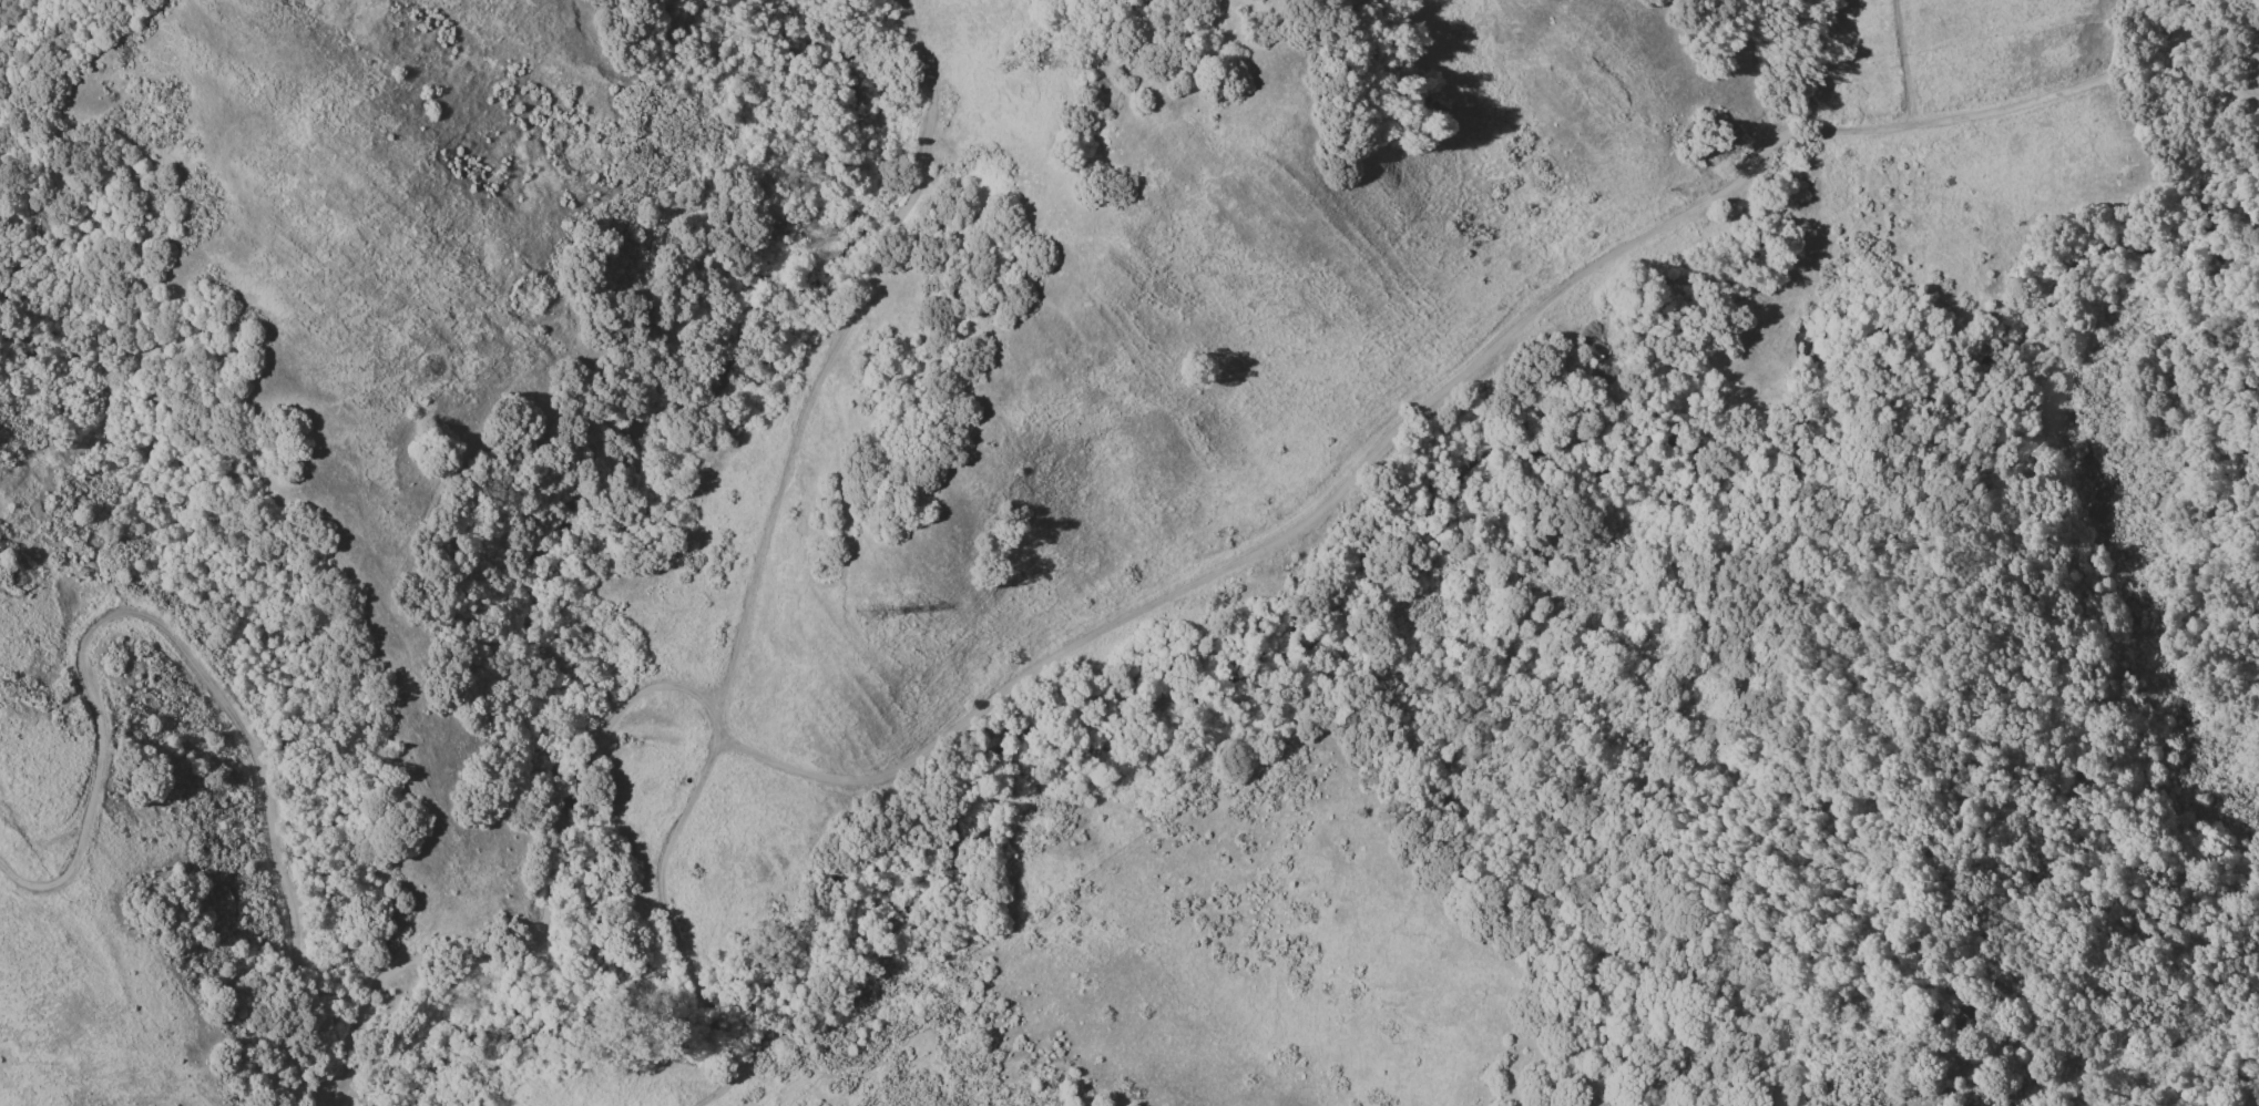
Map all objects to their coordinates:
road: (1907, 62)
road: (1376, 453)
power tower: (868, 614)
road: (201, 673)
road: (549, 901)
road: (729, 1065)

